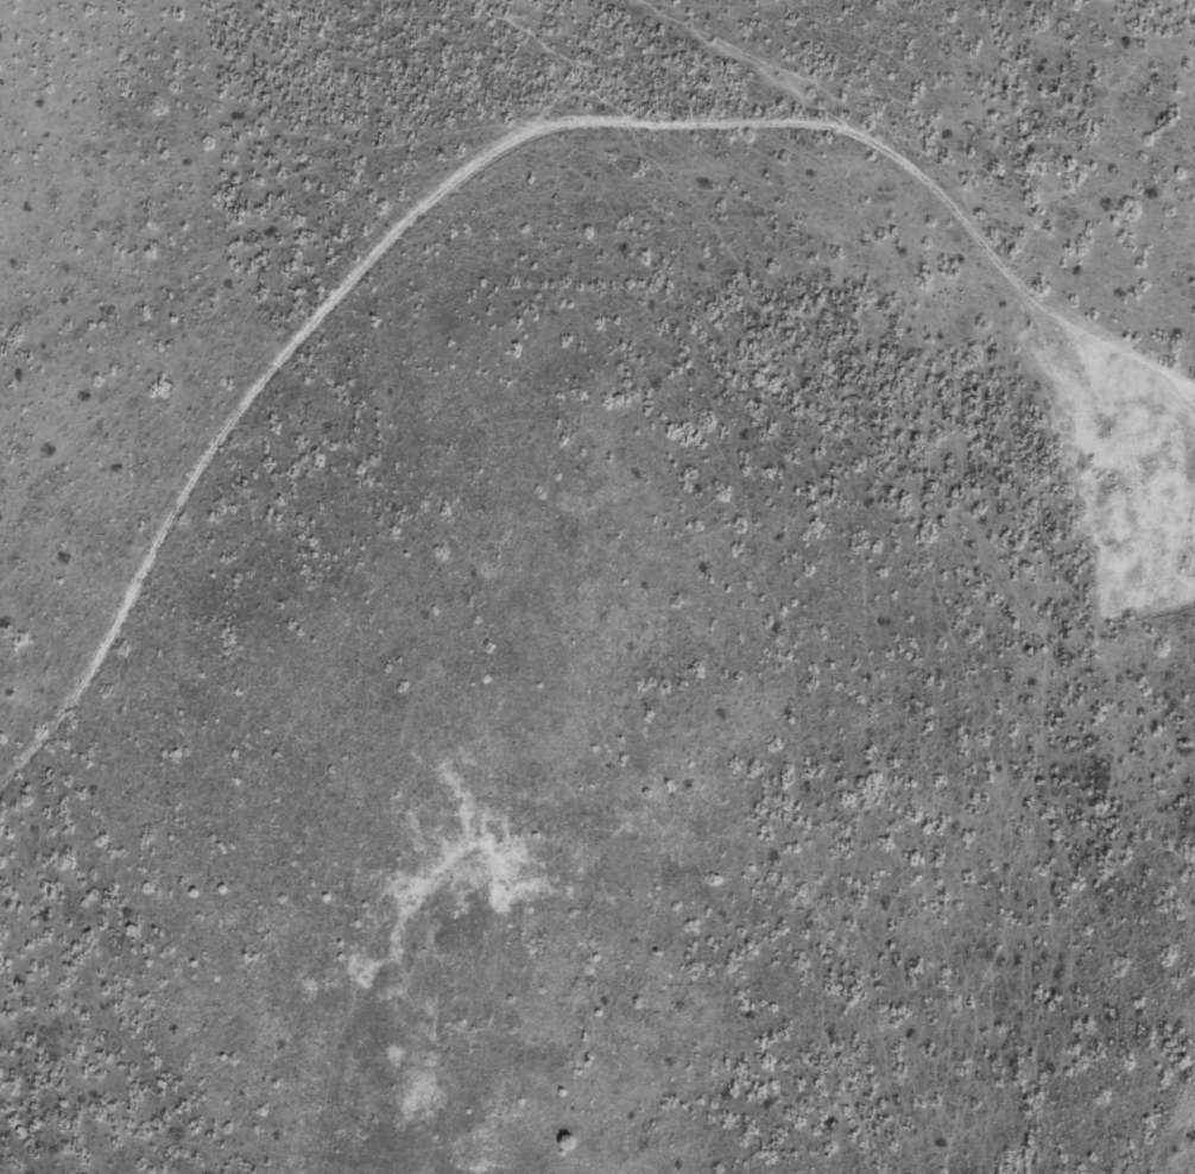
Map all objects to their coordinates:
road: (650, 39)
road: (963, 215)
road: (293, 383)

